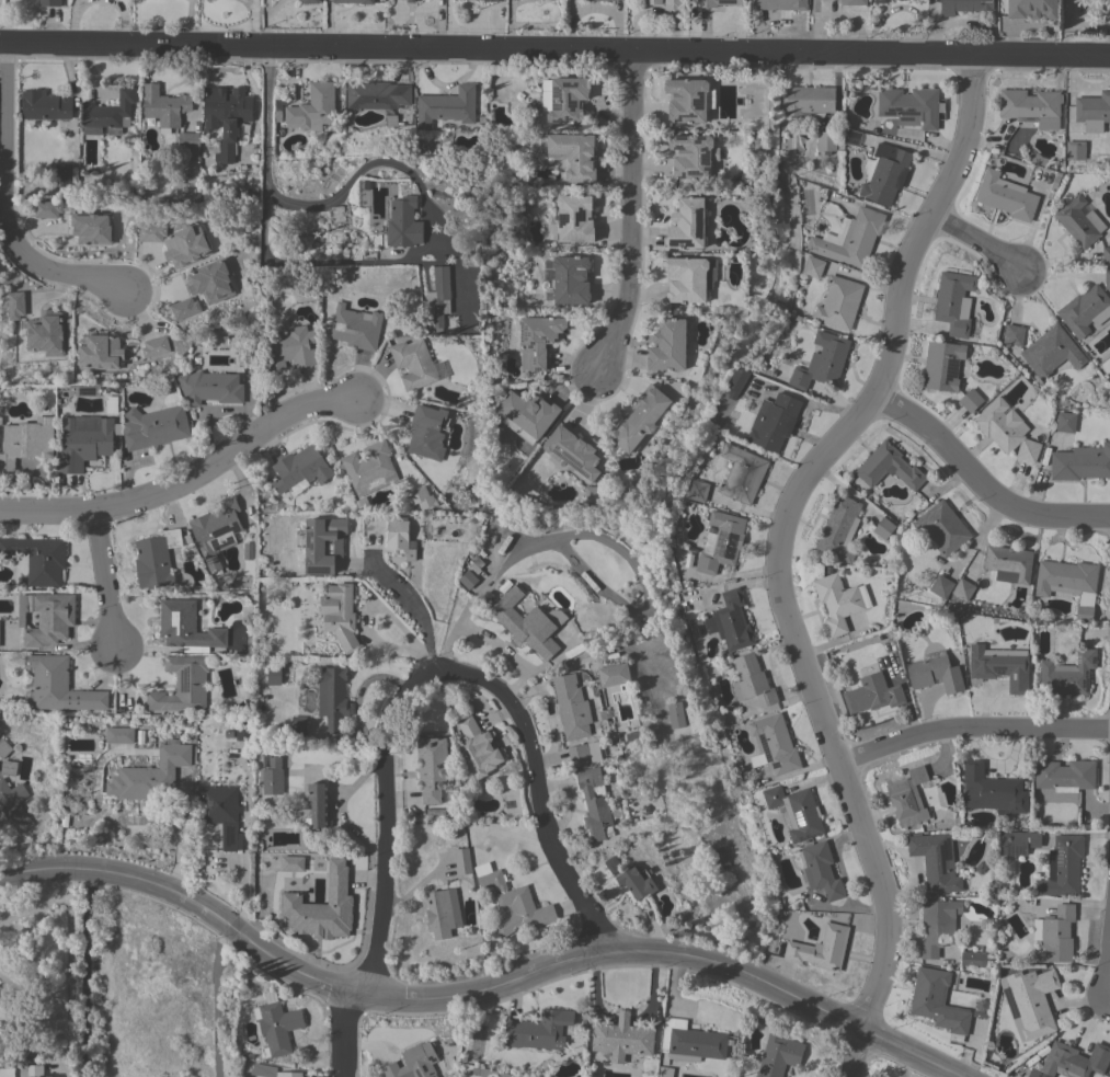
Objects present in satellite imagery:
building: (461, 0)
building: (490, 0)
building: (548, 0)
building: (605, 0)
building: (890, 0)
building: (309, 1)
building: (354, 1)
building: (410, 1)
building: (652, 1)
building: (880, 1)
building: (716, 2)
building: (854, 2)
building: (49, 3)
building: (672, 4)
building: (779, 4)
building: (963, 5)
building: (1106, 8)
building: (1030, 9)
road: (554, 50)
building: (376, 95)
building: (563, 99)
building: (688, 100)
building: (809, 102)
building: (45, 105)
building: (164, 105)
building: (911, 106)
building: (1031, 106)
building: (446, 107)
building: (278, 108)
building: (312, 108)
building: (1092, 112)
road: (266, 113)
building: (107, 114)
building: (226, 117)
building: (825, 141)
building: (188, 142)
building: (1075, 150)
building: (571, 154)
building: (691, 158)
building: (61, 174)
building: (885, 174)
building: (1006, 196)
road: (3, 210)
building: (46, 210)
building: (336, 214)
road: (630, 217)
building: (575, 218)
building: (1079, 221)
building: (403, 224)
building: (687, 225)
building: (91, 228)
building: (151, 232)
building: (851, 239)
road: (425, 241)
road: (974, 241)
building: (186, 245)
building: (1106, 255)
building: (813, 266)
building: (689, 278)
building: (567, 279)
building: (1107, 279)
building: (211, 280)
building: (437, 297)
building: (838, 302)
building: (954, 302)
building: (15, 305)
building: (184, 307)
building: (1085, 310)
building: (356, 326)
building: (46, 333)
building: (1012, 334)
building: (537, 339)
building: (668, 345)
building: (155, 346)
building: (289, 348)
building: (99, 351)
building: (1051, 352)
building: (822, 360)
building: (413, 363)
building: (942, 366)
building: (736, 379)
building: (210, 387)
building: (970, 400)
building: (526, 414)
building: (639, 419)
building: (773, 421)
building: (1065, 422)
building: (153, 426)
building: (1006, 429)
building: (426, 432)
building: (26, 440)
building: (83, 440)
building: (573, 451)
building: (1080, 462)
building: (889, 467)
building: (369, 468)
building: (300, 470)
building: (742, 473)
road: (984, 479)
road: (188, 481)
building: (697, 490)
building: (593, 493)
building: (422, 499)
building: (883, 527)
building: (942, 527)
building: (839, 528)
building: (216, 530)
building: (399, 537)
building: (720, 540)
building: (323, 545)
building: (248, 551)
road: (776, 552)
building: (37, 558)
building: (155, 558)
building: (1008, 563)
building: (477, 565)
building: (468, 580)
road: (106, 581)
building: (1068, 583)
building: (940, 586)
building: (963, 589)
building: (839, 601)
road: (420, 607)
building: (339, 614)
building: (46, 617)
building: (730, 621)
building: (523, 622)
building: (186, 628)
building: (1000, 666)
road: (438, 669)
building: (935, 673)
building: (613, 674)
building: (273, 675)
building: (1067, 675)
building: (751, 680)
building: (182, 685)
building: (57, 686)
building: (872, 694)
building: (332, 698)
building: (571, 707)
building: (675, 714)
building: (297, 723)
building: (244, 729)
road: (973, 731)
building: (119, 735)
building: (775, 743)
building: (477, 747)
building: (3, 748)
building: (577, 753)
building: (8, 767)
building: (431, 767)
building: (150, 775)
building: (1064, 776)
building: (272, 781)
building: (992, 791)
building: (907, 798)
building: (593, 802)
building: (13, 805)
building: (314, 806)
building: (796, 811)
building: (221, 812)
building: (1017, 843)
building: (720, 857)
building: (461, 859)
building: (935, 861)
building: (290, 863)
building: (610, 863)
building: (1062, 867)
building: (821, 870)
building: (636, 882)
building: (512, 901)
road: (33, 905)
building: (322, 907)
building: (438, 914)
building: (937, 926)
building: (1056, 936)
building: (821, 949)
building: (973, 959)
road: (67, 972)
road: (1109, 976)
road: (479, 982)
road: (32, 985)
building: (7, 997)
road: (218, 1000)
building: (938, 1002)
building: (1035, 1004)
building: (276, 1024)
building: (539, 1030)
road: (348, 1032)
building: (622, 1038)
building: (691, 1041)
building: (778, 1054)
building: (1075, 1061)
building: (413, 1062)
building: (23, 1070)
building: (272, 1072)
building: (665, 1072)
building: (49, 1076)

